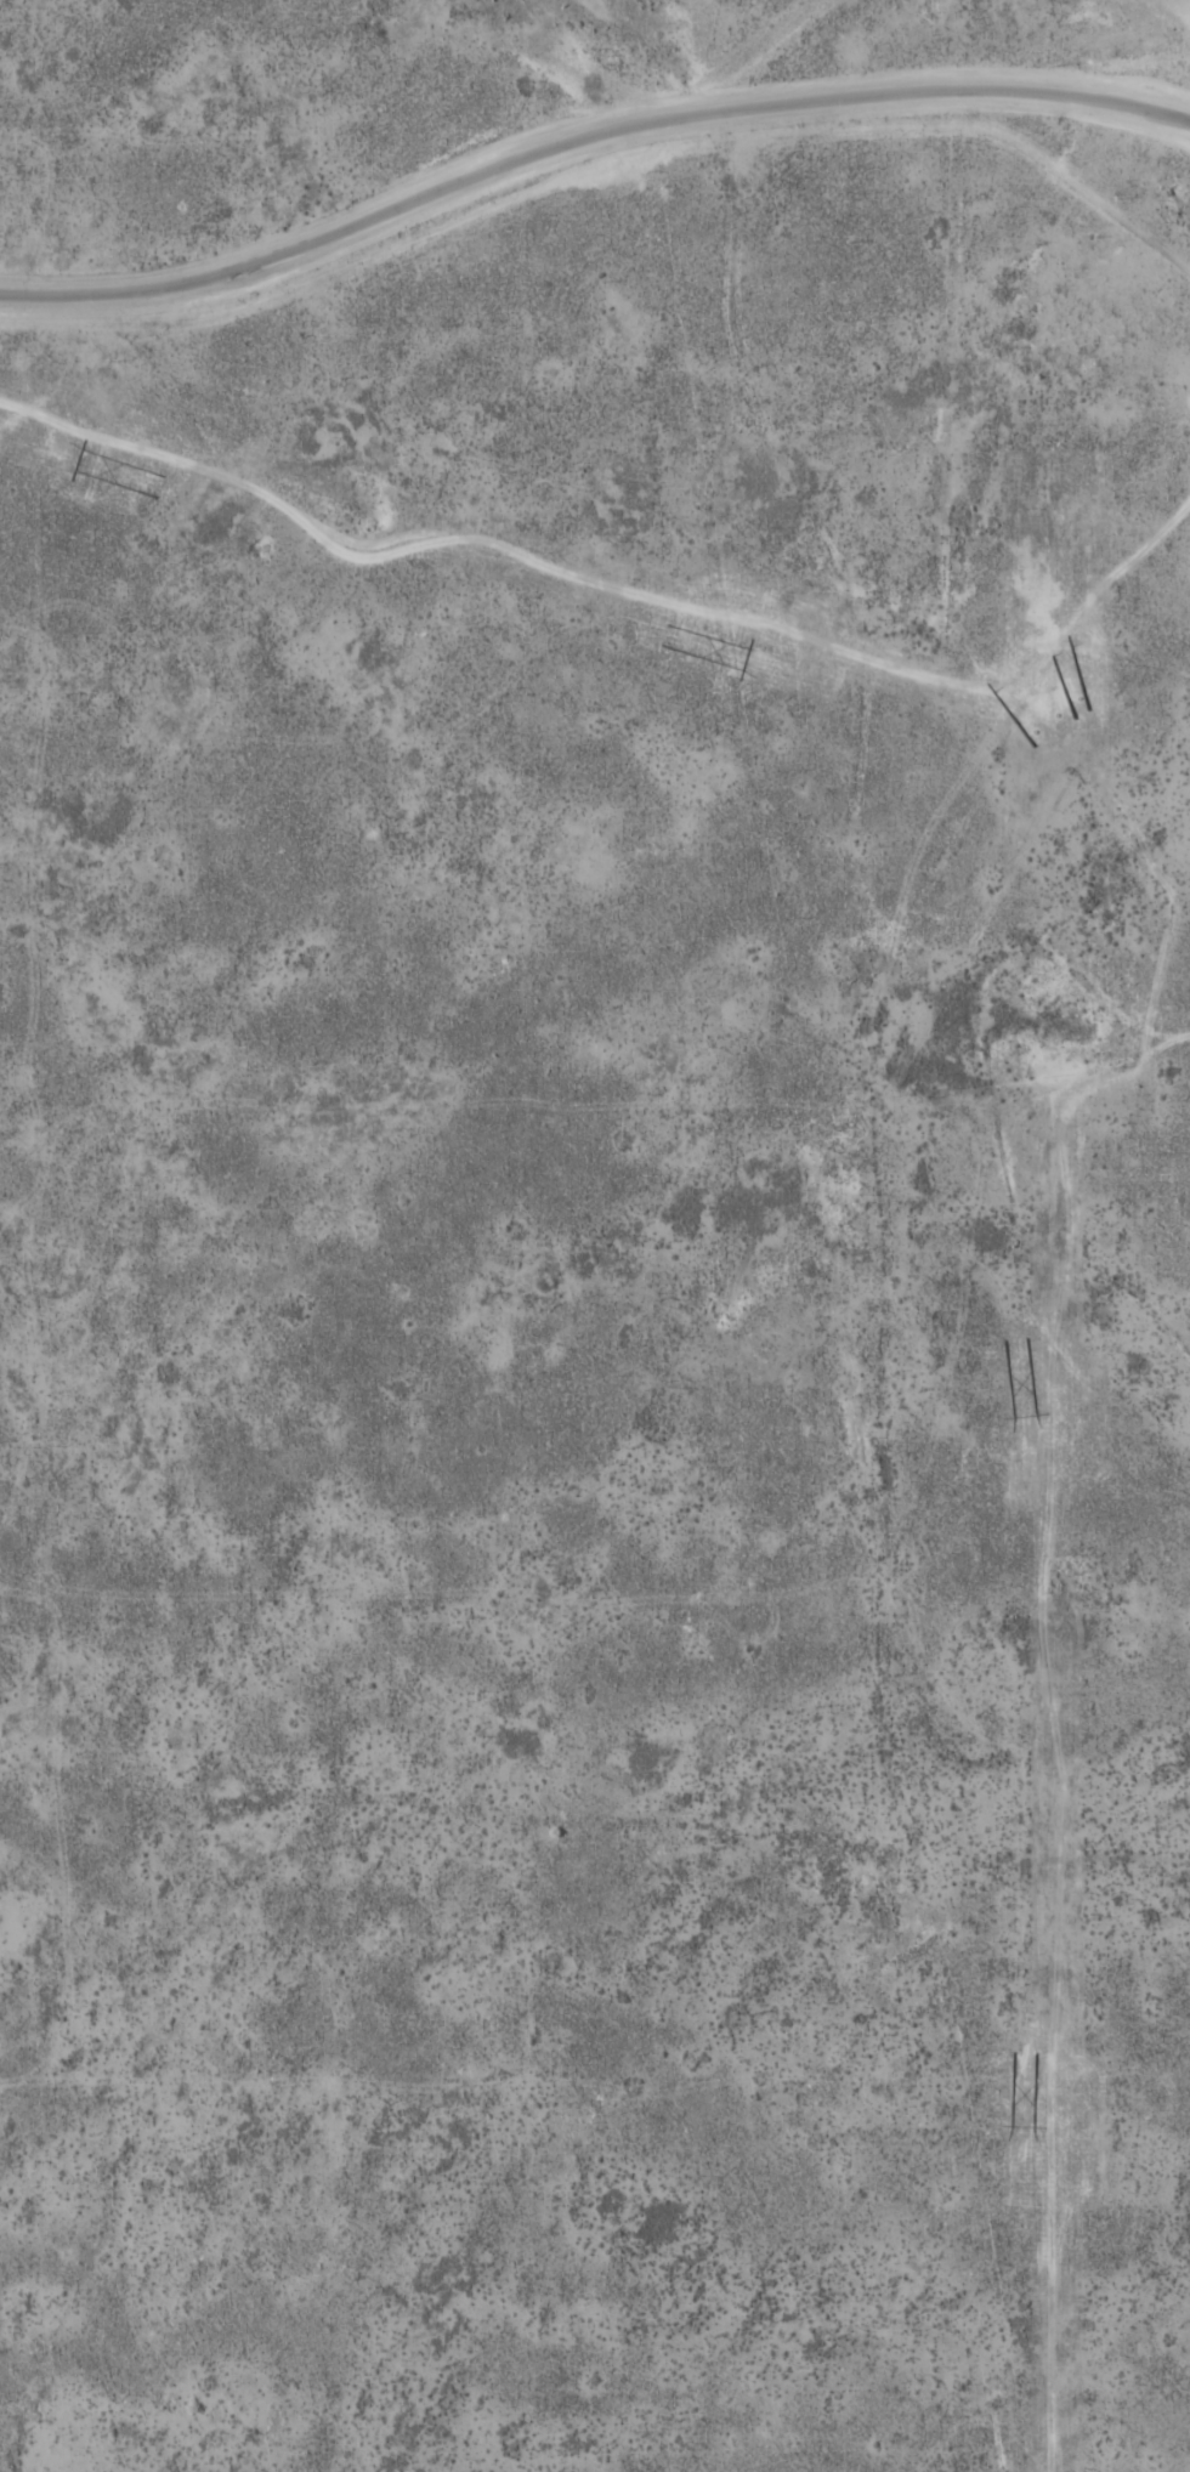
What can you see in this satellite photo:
road: (584, 135)

